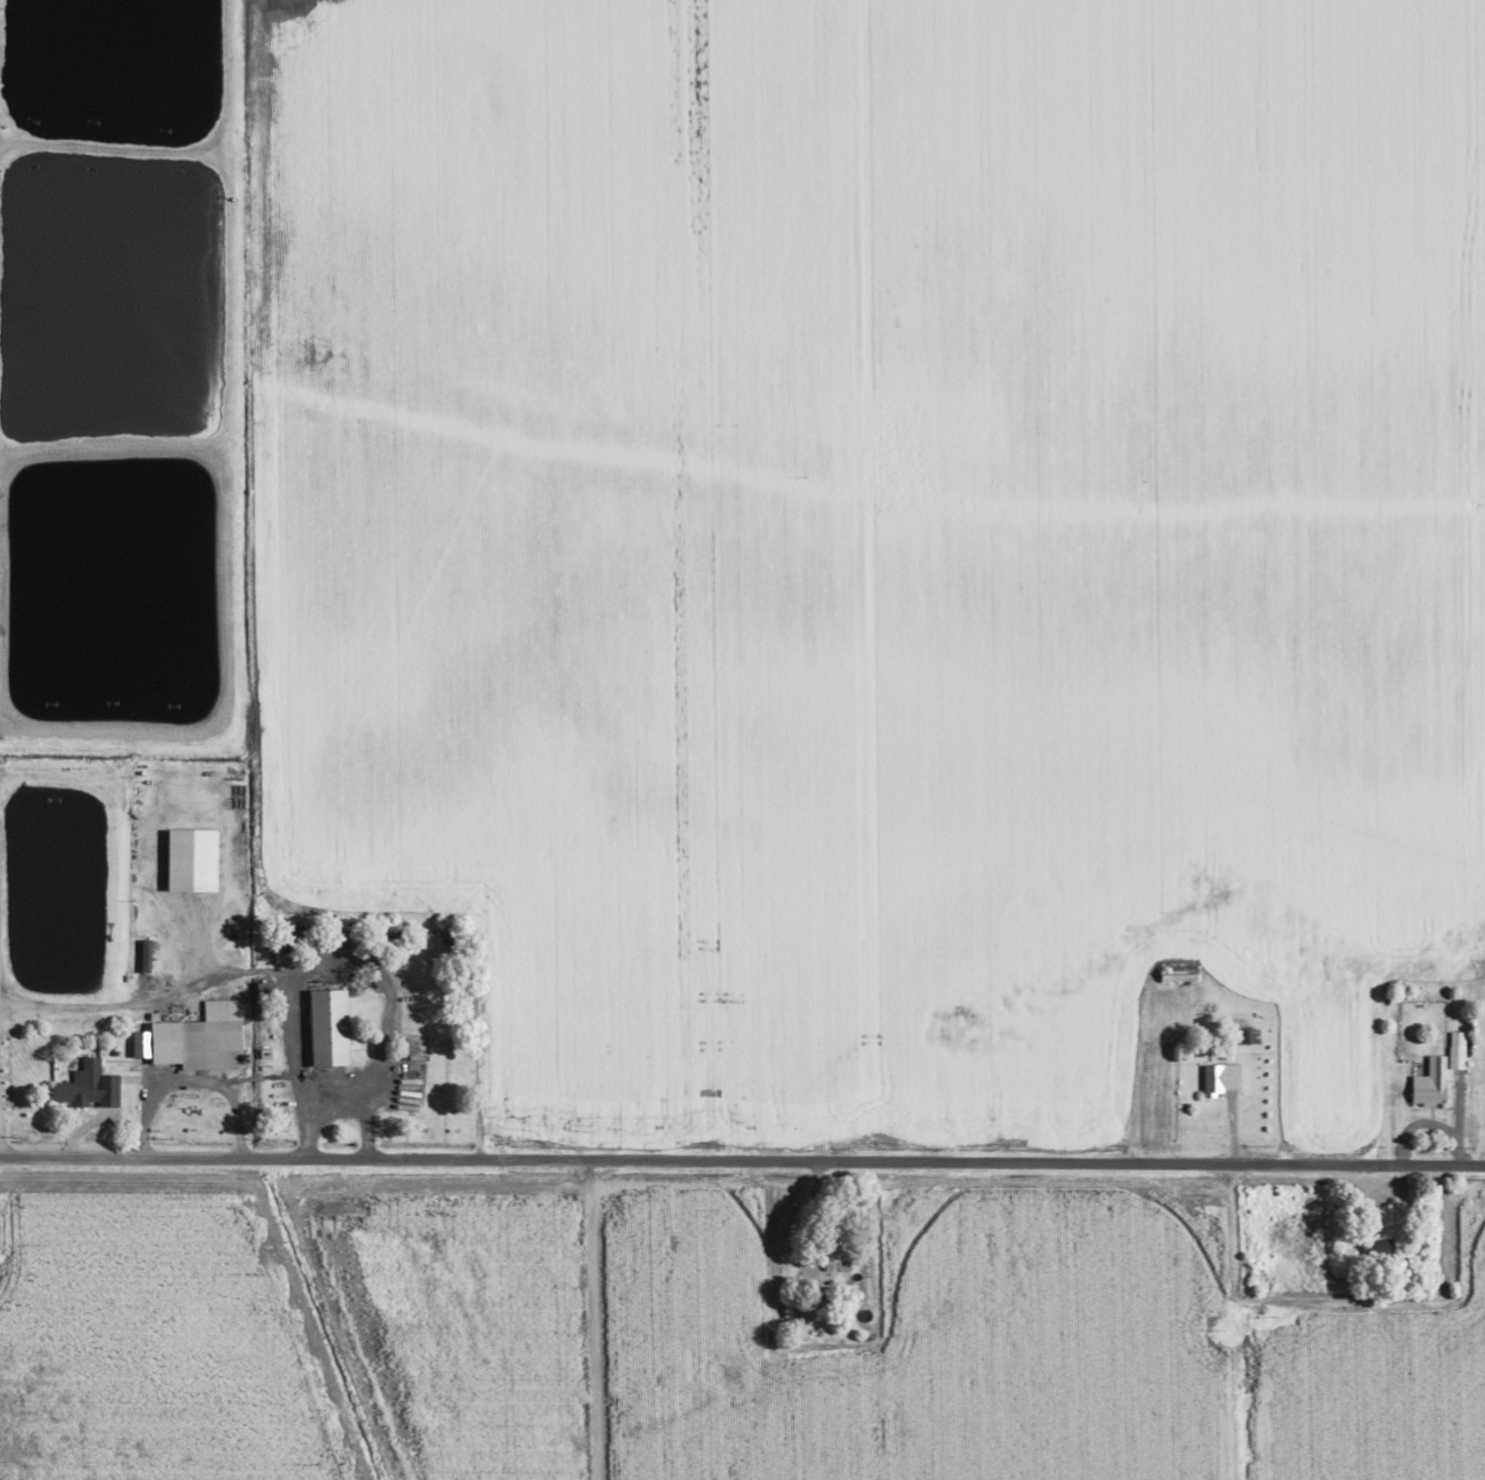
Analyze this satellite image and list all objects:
building: (192, 859)
building: (146, 955)
building: (1178, 974)
building: (265, 986)
building: (329, 1027)
building: (197, 1039)
building: (1458, 1049)
building: (1221, 1078)
building: (1433, 1082)
building: (89, 1085)
road: (1457, 1109)
road: (0, 1149)
road: (742, 1162)
road: (818, 1223)

